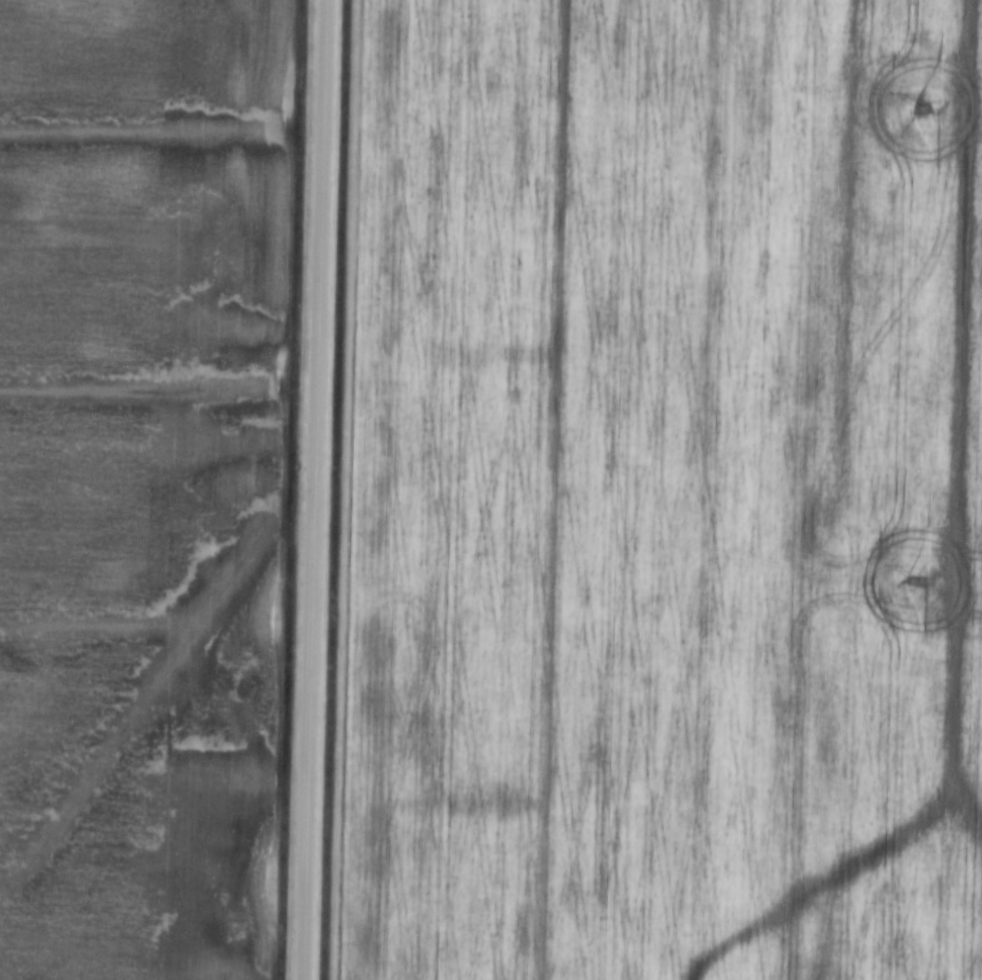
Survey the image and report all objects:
power tower: (919, 109)
crop: (140, 483)
road: (309, 490)
crop: (662, 492)
power tower: (913, 583)

